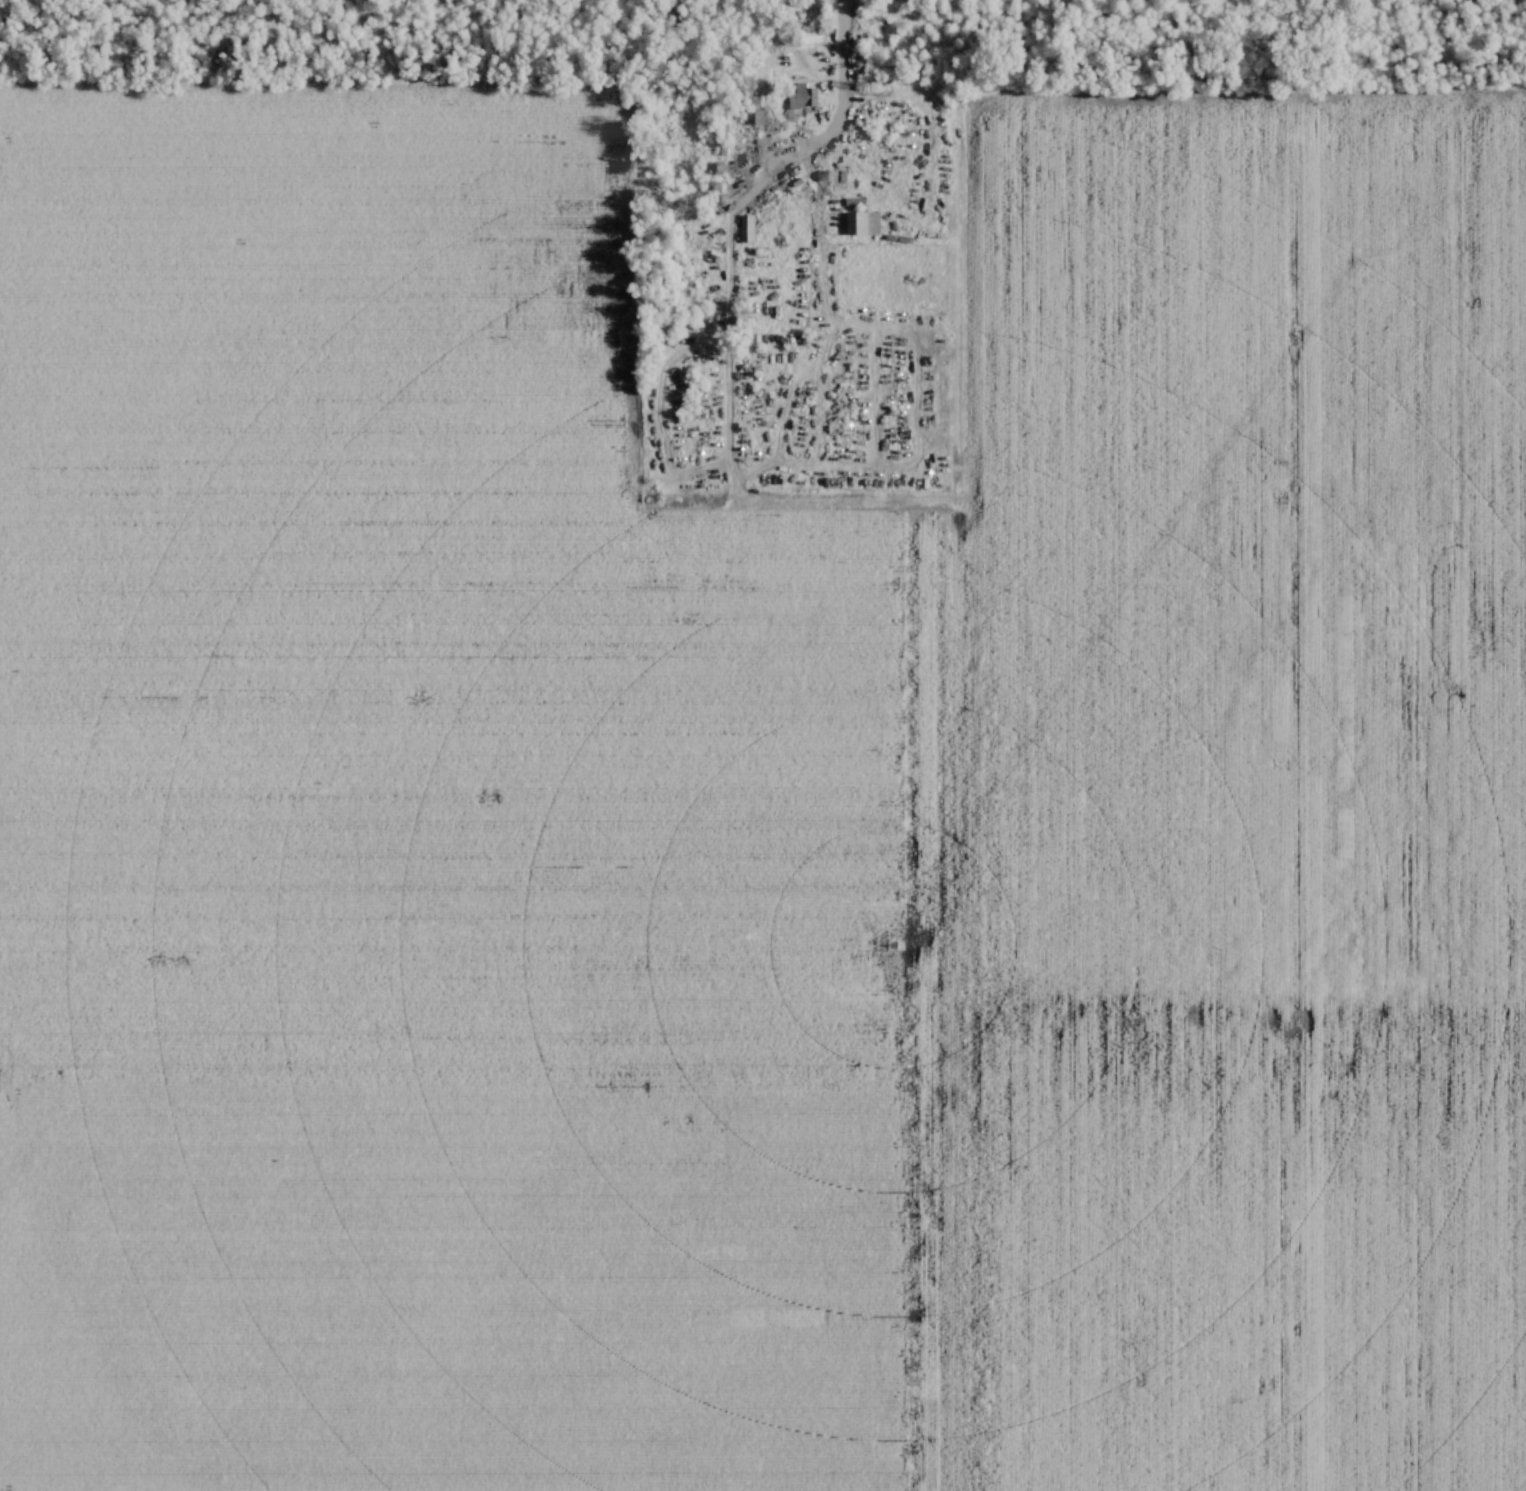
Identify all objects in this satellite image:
road: (840, 82)
building: (804, 96)
building: (864, 224)

